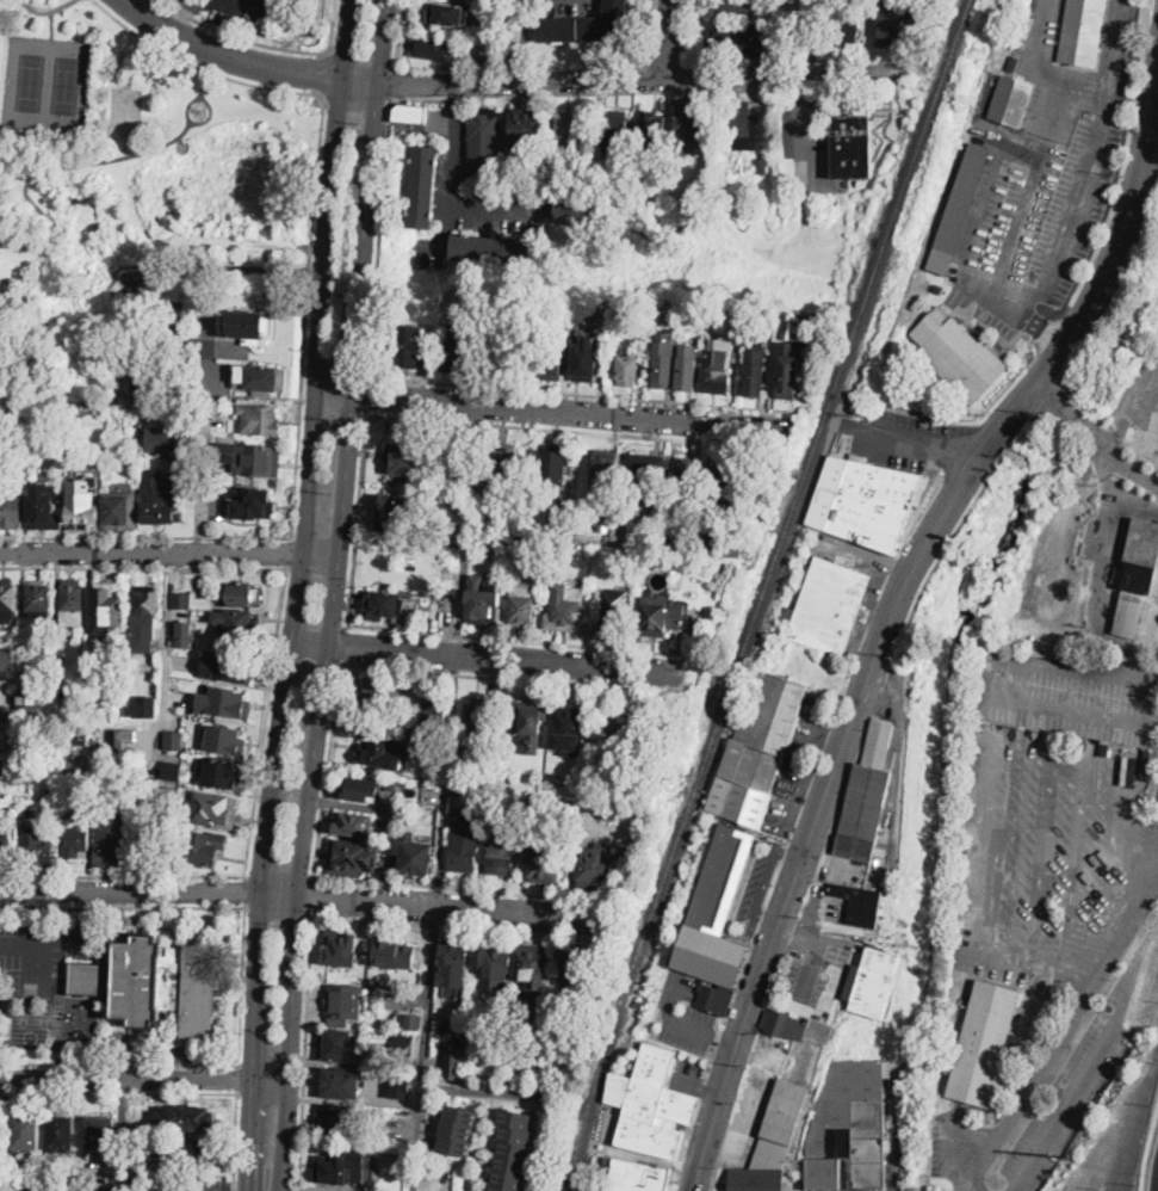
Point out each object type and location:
road: (193, 1)
road: (225, 1)
building: (733, 6)
road: (175, 8)
parking lot: (237, 10)
road: (44, 11)
building: (448, 13)
road: (180, 16)
building: (846, 21)
road: (51, 23)
building: (584, 25)
building: (892, 25)
road: (333, 30)
building: (1082, 32)
road: (651, 33)
road: (691, 33)
building: (798, 35)
road: (397, 36)
building: (731, 37)
road: (815, 38)
road: (347, 39)
road: (527, 41)
road: (669, 41)
road: (384, 42)
road: (255, 43)
building: (429, 48)
road: (228, 55)
building: (1013, 62)
road: (321, 75)
road: (644, 79)
road: (685, 80)
park: (47, 81)
road: (360, 81)
road: (631, 81)
road: (391, 84)
road: (203, 85)
road: (805, 88)
road: (634, 93)
building: (1010, 101)
park: (125, 107)
building: (409, 113)
road: (198, 118)
building: (687, 124)
building: (741, 125)
building: (525, 126)
building: (652, 126)
building: (571, 129)
building: (615, 131)
building: (483, 132)
road: (806, 144)
road: (456, 146)
building: (850, 147)
road: (1042, 154)
building: (760, 165)
building: (673, 167)
building: (551, 169)
road: (36, 173)
building: (862, 183)
building: (423, 187)
park: (124, 189)
road: (315, 191)
road: (496, 208)
building: (959, 209)
building: (576, 211)
parking lot: (1040, 218)
road: (378, 236)
road: (446, 239)
building: (493, 249)
road: (233, 269)
building: (935, 286)
building: (246, 326)
road: (1030, 326)
building: (800, 329)
building: (404, 346)
building: (549, 351)
building: (458, 353)
building: (513, 356)
building: (959, 356)
building: (584, 359)
building: (663, 365)
building: (687, 366)
building: (628, 370)
building: (755, 371)
building: (787, 371)
building: (716, 374)
building: (260, 378)
building: (119, 379)
building: (148, 382)
road: (366, 394)
road: (575, 395)
road: (547, 411)
building: (259, 420)
building: (137, 422)
road: (531, 428)
road: (1129, 430)
parking lot: (905, 437)
building: (163, 438)
road: (1095, 438)
road: (917, 443)
building: (451, 456)
building: (252, 458)
building: (409, 459)
building: (503, 463)
building: (553, 464)
building: (605, 467)
road: (203, 470)
building: (687, 477)
building: (649, 479)
building: (719, 488)
building: (863, 500)
building: (160, 501)
building: (252, 505)
building: (454, 507)
building: (10, 511)
building: (43, 511)
building: (104, 511)
building: (483, 513)
building: (394, 514)
building: (561, 516)
road: (358, 520)
building: (606, 522)
road: (469, 529)
building: (444, 533)
road: (145, 536)
building: (493, 543)
road: (899, 545)
road: (668, 547)
road: (150, 553)
road: (290, 554)
road: (321, 554)
road: (861, 554)
road: (143, 567)
building: (1137, 575)
railway: (761, 593)
building: (242, 595)
building: (181, 600)
building: (483, 600)
building: (7, 601)
building: (37, 601)
building: (521, 603)
building: (145, 606)
building: (828, 606)
building: (109, 607)
building: (392, 607)
building: (72, 609)
building: (565, 609)
road: (894, 609)
building: (711, 610)
building: (614, 612)
building: (661, 615)
building: (239, 622)
building: (185, 634)
road: (292, 634)
road: (333, 637)
road: (522, 641)
road: (343, 643)
road: (494, 658)
building: (5, 661)
road: (165, 665)
building: (228, 666)
road: (1154, 675)
road: (484, 678)
building: (373, 697)
road: (1013, 697)
building: (27, 701)
building: (224, 702)
building: (145, 706)
building: (435, 709)
building: (476, 716)
building: (0, 718)
road: (265, 723)
building: (530, 724)
building: (566, 726)
building: (623, 730)
building: (109, 732)
building: (26, 735)
building: (223, 738)
building: (83, 739)
building: (173, 739)
building: (499, 748)
building: (757, 748)
building: (382, 752)
building: (487, 763)
road: (326, 767)
building: (173, 769)
building: (218, 772)
building: (526, 776)
building: (405, 779)
road: (447, 780)
building: (391, 785)
building: (360, 789)
building: (163, 791)
building: (867, 794)
building: (530, 796)
building: (541, 797)
building: (423, 798)
building: (10, 803)
building: (628, 807)
building: (213, 809)
building: (608, 814)
building: (354, 825)
building: (74, 841)
building: (204, 847)
building: (110, 848)
building: (463, 848)
building: (501, 850)
building: (5, 852)
building: (42, 854)
building: (349, 857)
building: (414, 857)
building: (543, 863)
building: (594, 868)
parking lot: (842, 869)
road: (122, 875)
building: (722, 877)
road: (764, 878)
parking lot: (757, 885)
road: (457, 889)
road: (244, 890)
road: (305, 895)
road: (312, 895)
road: (122, 905)
building: (859, 905)
road: (35, 918)
road: (453, 928)
road: (67, 943)
building: (342, 948)
road: (42, 949)
building: (395, 951)
parking lot: (42, 952)
building: (711, 955)
building: (496, 958)
building: (532, 964)
building: (576, 965)
parking lot: (813, 965)
building: (456, 968)
building: (415, 980)
building: (872, 981)
road: (240, 983)
building: (156, 986)
road: (432, 996)
building: (716, 996)
building: (342, 1004)
building: (518, 1011)
parking lot: (683, 1013)
road: (682, 1022)
building: (413, 1023)
road: (1071, 1024)
building: (784, 1025)
building: (403, 1044)
building: (338, 1045)
building: (985, 1045)
road: (308, 1050)
parking lot: (789, 1054)
building: (452, 1065)
road: (119, 1066)
parking lot: (688, 1074)
building: (404, 1079)
road: (239, 1080)
road: (144, 1081)
building: (338, 1082)
road: (699, 1086)
road: (119, 1094)
road: (533, 1097)
parking lot: (753, 1098)
building: (650, 1103)
building: (185, 1118)
building: (338, 1122)
building: (780, 1124)
building: (849, 1128)
building: (458, 1130)
building: (24, 1133)
building: (60, 1133)
building: (101, 1134)
road: (420, 1138)
road: (235, 1142)
road: (1150, 1144)
building: (513, 1150)
building: (190, 1155)
road: (681, 1159)
building: (341, 1167)
road: (714, 1171)
building: (636, 1175)
building: (756, 1178)
building: (94, 1179)
building: (2, 1183)
building: (161, 1183)
parking lot: (205, 1187)
building: (18, 1189)

